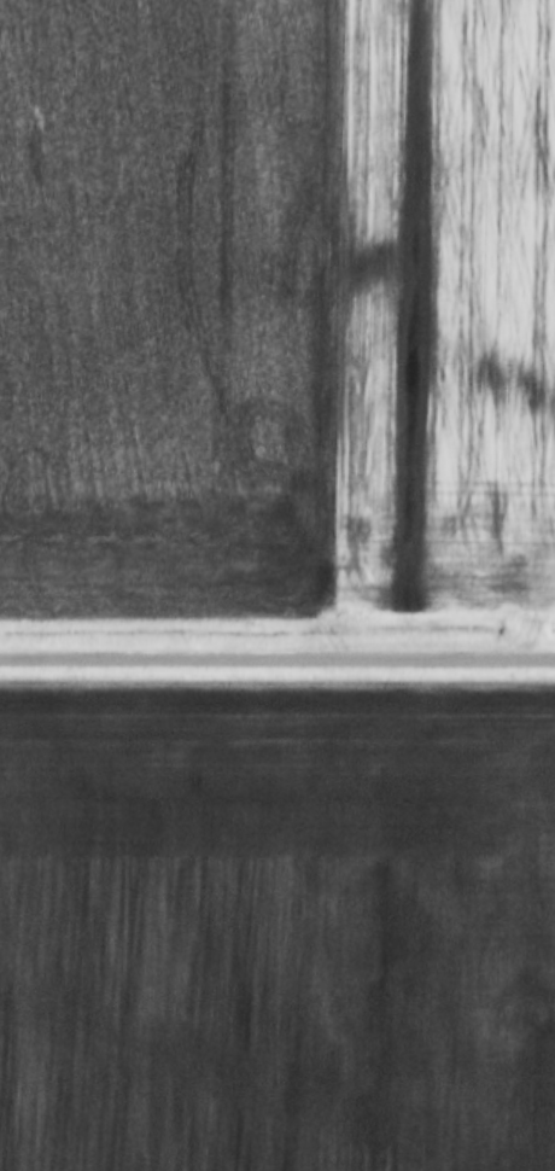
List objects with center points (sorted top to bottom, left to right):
road: (277, 656)

